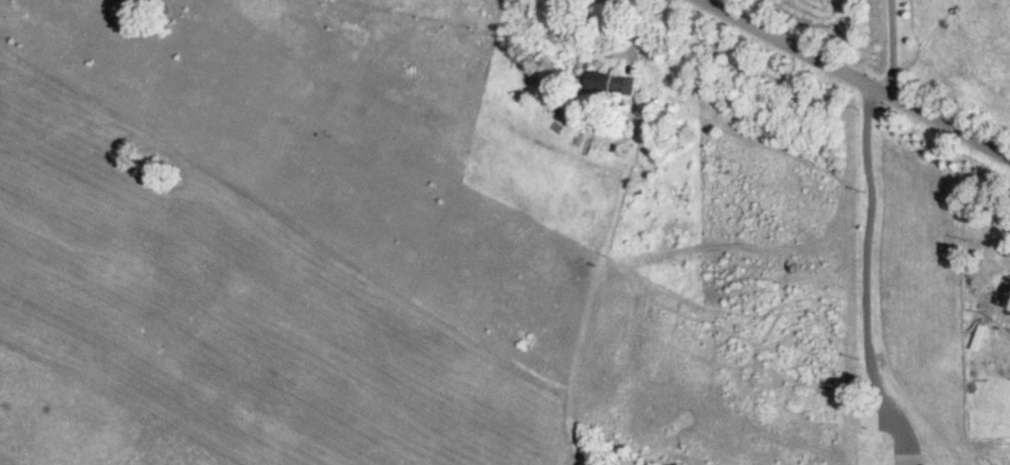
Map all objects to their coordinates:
road: (893, 48)
road: (853, 79)
building: (611, 83)
road: (873, 276)
road: (990, 294)

